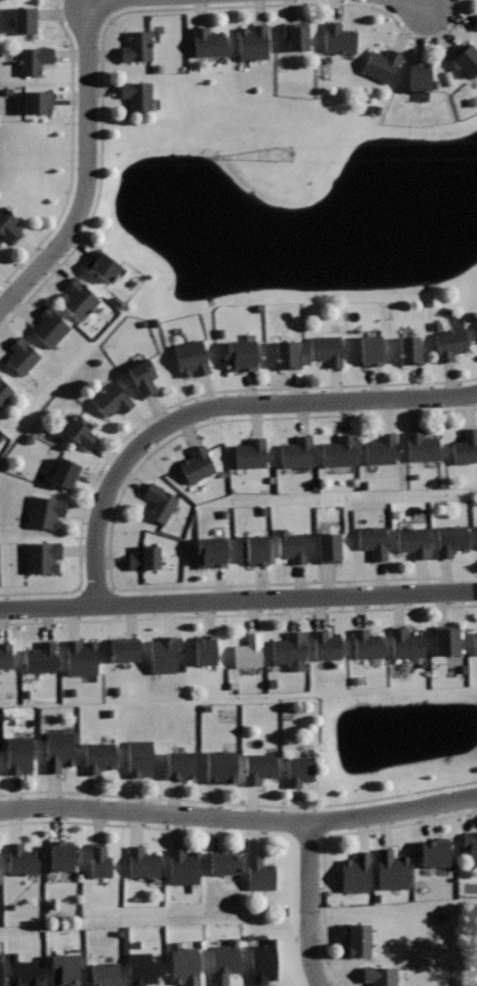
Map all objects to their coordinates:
road: (414, 5)
road: (129, 11)
building: (25, 20)
building: (476, 22)
building: (295, 35)
building: (339, 38)
building: (208, 42)
building: (253, 42)
building: (137, 46)
building: (466, 58)
building: (33, 59)
building: (381, 65)
building: (419, 75)
building: (138, 95)
building: (38, 101)
power tower: (303, 151)
road: (70, 152)
road: (86, 163)
building: (8, 225)
building: (103, 265)
building: (78, 299)
building: (476, 323)
building: (50, 327)
building: (450, 343)
building: (327, 349)
building: (371, 349)
building: (410, 350)
building: (242, 354)
building: (287, 354)
building: (22, 355)
building: (191, 357)
building: (142, 377)
building: (5, 391)
building: (111, 399)
road: (175, 403)
road: (217, 406)
building: (80, 431)
building: (423, 447)
building: (465, 447)
building: (380, 449)
building: (339, 450)
building: (250, 453)
building: (297, 453)
building: (197, 464)
building: (64, 473)
building: (160, 502)
building: (45, 511)
road: (109, 529)
building: (451, 539)
building: (373, 541)
building: (413, 541)
building: (291, 545)
building: (329, 547)
building: (257, 549)
building: (211, 551)
building: (42, 556)
building: (144, 558)
road: (238, 600)
road: (238, 614)
building: (446, 639)
building: (474, 642)
building: (366, 643)
building: (406, 643)
building: (326, 645)
building: (125, 648)
building: (206, 649)
building: (289, 650)
building: (248, 651)
building: (165, 653)
building: (5, 655)
building: (81, 657)
building: (41, 658)
building: (58, 749)
building: (19, 755)
building: (98, 757)
building: (140, 758)
building: (180, 764)
building: (221, 766)
building: (259, 767)
building: (299, 770)
road: (239, 803)
road: (239, 818)
road: (219, 831)
road: (326, 836)
road: (305, 838)
building: (471, 846)
building: (436, 852)
building: (62, 855)
building: (22, 859)
building: (99, 860)
building: (142, 862)
building: (225, 862)
building: (184, 867)
building: (392, 870)
building: (356, 872)
building: (260, 873)
road: (305, 905)
building: (357, 940)
building: (224, 961)
building: (261, 962)
building: (183, 965)
building: (141, 968)
building: (62, 970)
building: (21, 971)
building: (105, 974)
building: (381, 976)
building: (0, 983)

